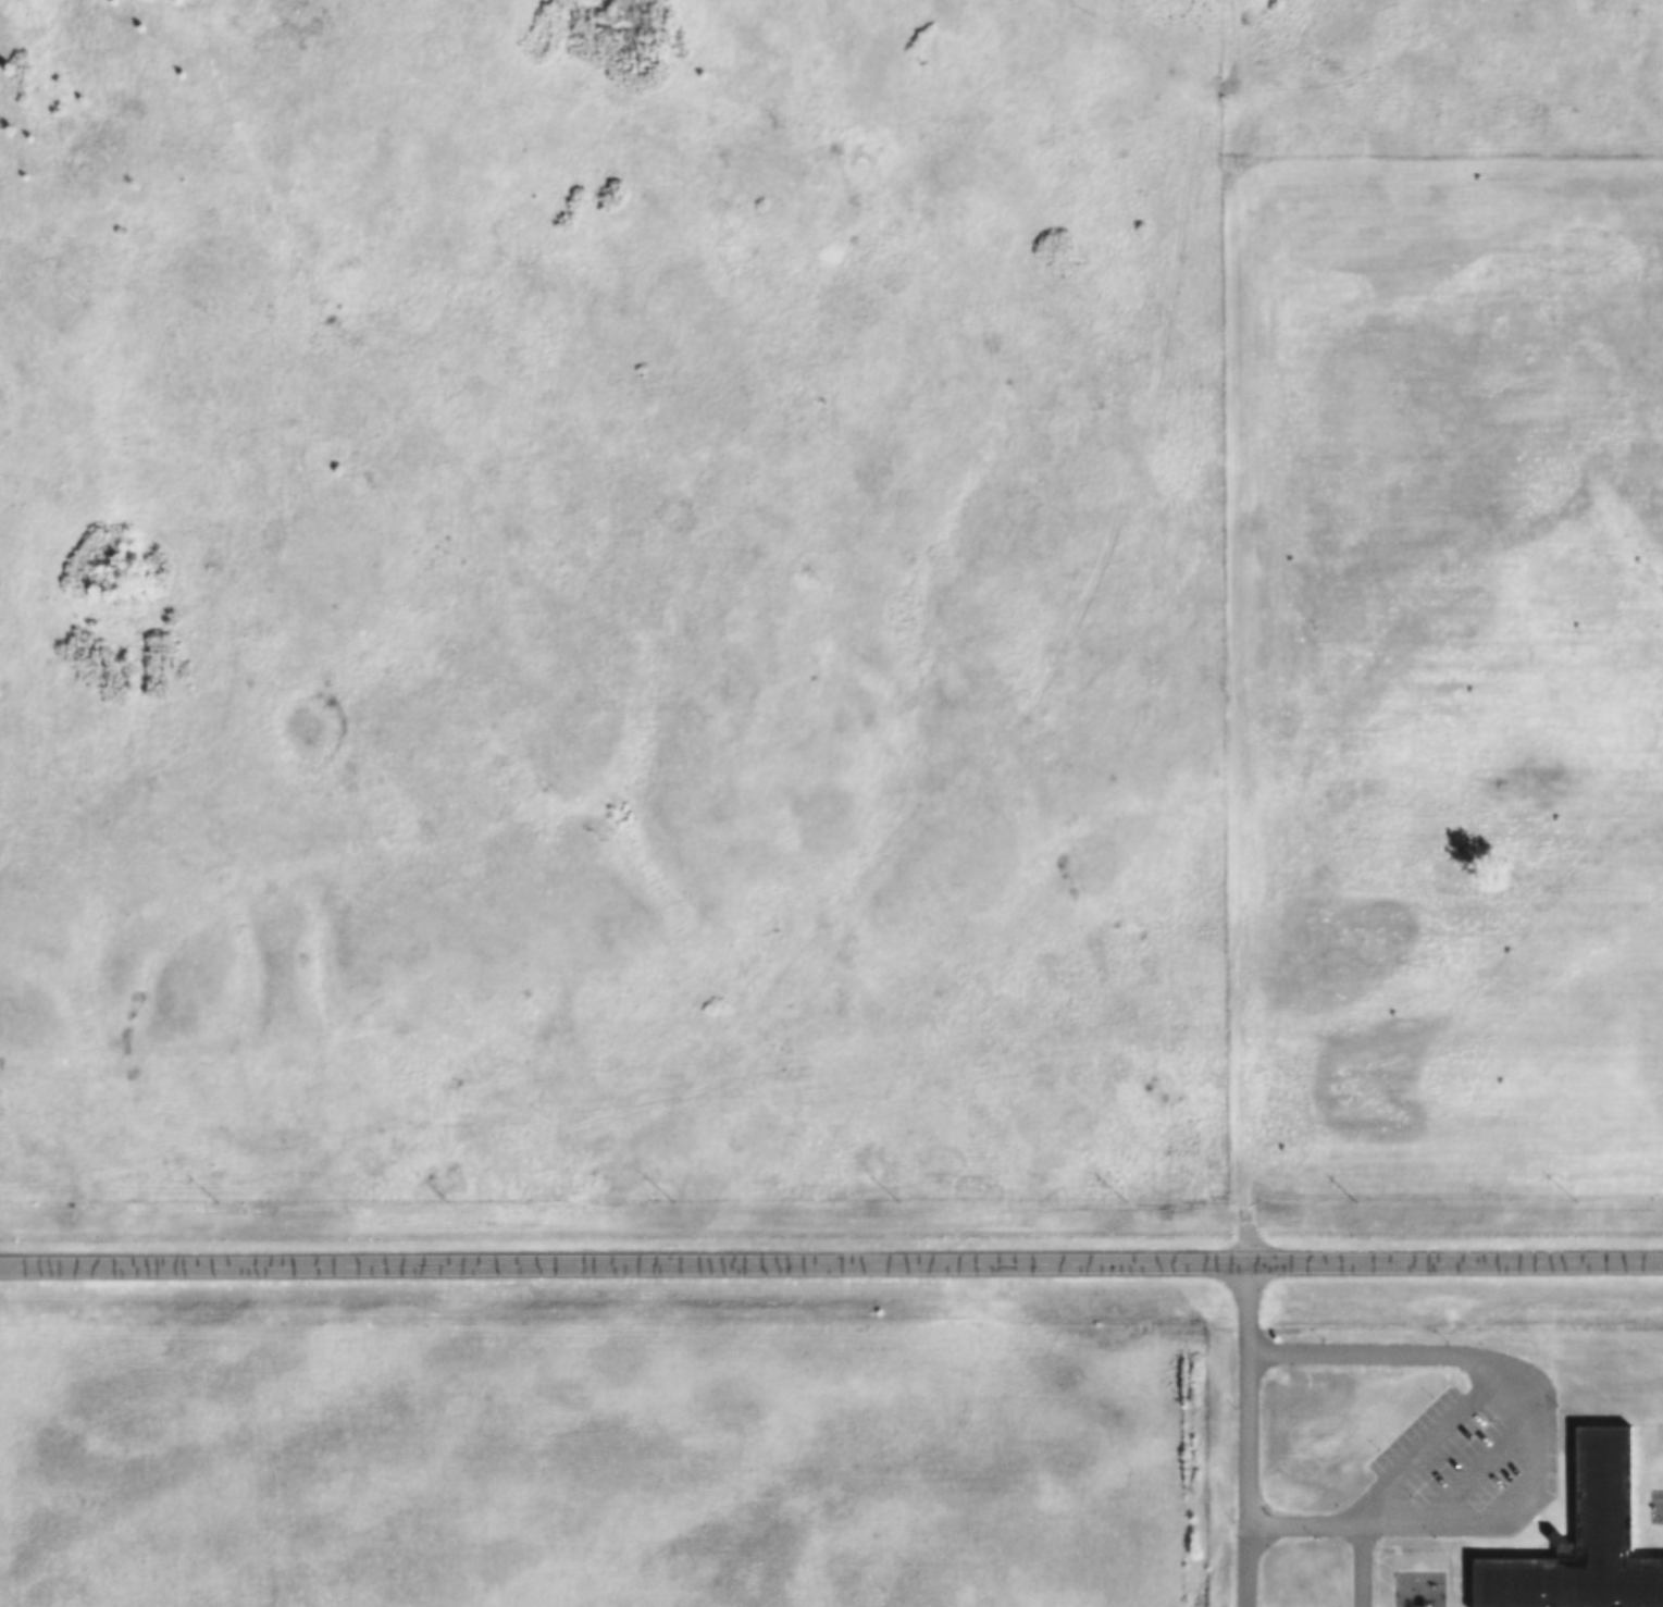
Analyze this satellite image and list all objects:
road: (831, 1263)

